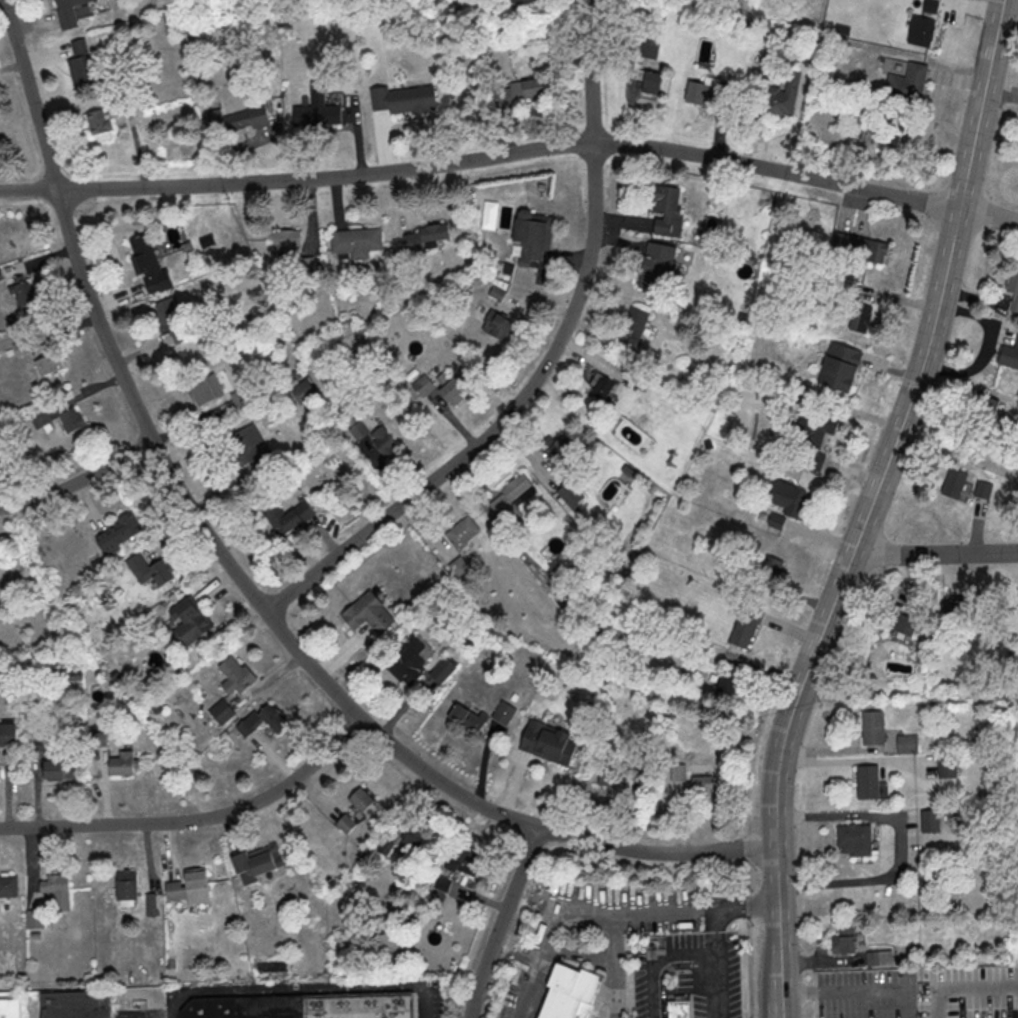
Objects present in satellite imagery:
building: (522, 1)
building: (931, 6)
building: (70, 13)
building: (920, 30)
building: (649, 47)
building: (83, 68)
building: (649, 80)
building: (907, 82)
building: (793, 86)
building: (523, 91)
building: (710, 97)
building: (403, 99)
road: (980, 107)
building: (317, 108)
building: (247, 117)
building: (100, 124)
building: (886, 134)
road: (512, 155)
building: (667, 204)
building: (533, 232)
building: (287, 237)
building: (426, 237)
building: (356, 240)
building: (859, 246)
building: (148, 264)
building: (657, 264)
building: (1013, 287)
building: (22, 290)
building: (860, 317)
building: (171, 319)
building: (636, 322)
building: (496, 324)
road: (985, 349)
building: (1009, 355)
building: (48, 364)
road: (544, 365)
building: (839, 366)
building: (453, 387)
building: (603, 387)
building: (204, 388)
road: (915, 388)
building: (985, 409)
building: (72, 419)
building: (358, 430)
building: (814, 435)
building: (384, 441)
building: (557, 447)
building: (247, 448)
road: (79, 481)
building: (954, 482)
building: (982, 490)
building: (569, 494)
building: (512, 495)
building: (788, 498)
building: (287, 517)
building: (462, 532)
building: (118, 533)
road: (934, 554)
building: (459, 567)
building: (773, 567)
building: (149, 570)
road: (240, 581)
building: (564, 603)
building: (957, 605)
building: (368, 613)
building: (188, 621)
building: (904, 623)
building: (745, 626)
building: (939, 629)
building: (407, 660)
building: (443, 671)
building: (236, 675)
building: (728, 682)
road: (794, 697)
building: (221, 711)
building: (503, 712)
building: (467, 719)
building: (262, 720)
building: (873, 728)
building: (8, 735)
building: (101, 738)
building: (549, 741)
building: (38, 743)
building: (907, 744)
building: (122, 763)
building: (947, 765)
building: (60, 767)
building: (0, 771)
building: (678, 772)
building: (867, 781)
building: (703, 784)
building: (361, 800)
road: (197, 820)
building: (930, 820)
building: (346, 823)
building: (410, 838)
building: (855, 839)
road: (899, 846)
building: (462, 859)
building: (257, 862)
building: (128, 884)
building: (9, 885)
building: (192, 887)
building: (58, 891)
building: (151, 904)
road: (618, 916)
building: (36, 919)
road: (777, 919)
road: (501, 921)
road: (749, 922)
road: (713, 933)
road: (543, 935)
building: (844, 940)
building: (879, 957)
road: (662, 965)
road: (965, 988)
road: (302, 989)
road: (853, 991)
building: (570, 993)
building: (76, 1005)
building: (305, 1006)
road: (777, 1006)
building: (10, 1009)
building: (680, 1009)
parking lot: (139, 1013)
road: (140, 1016)

